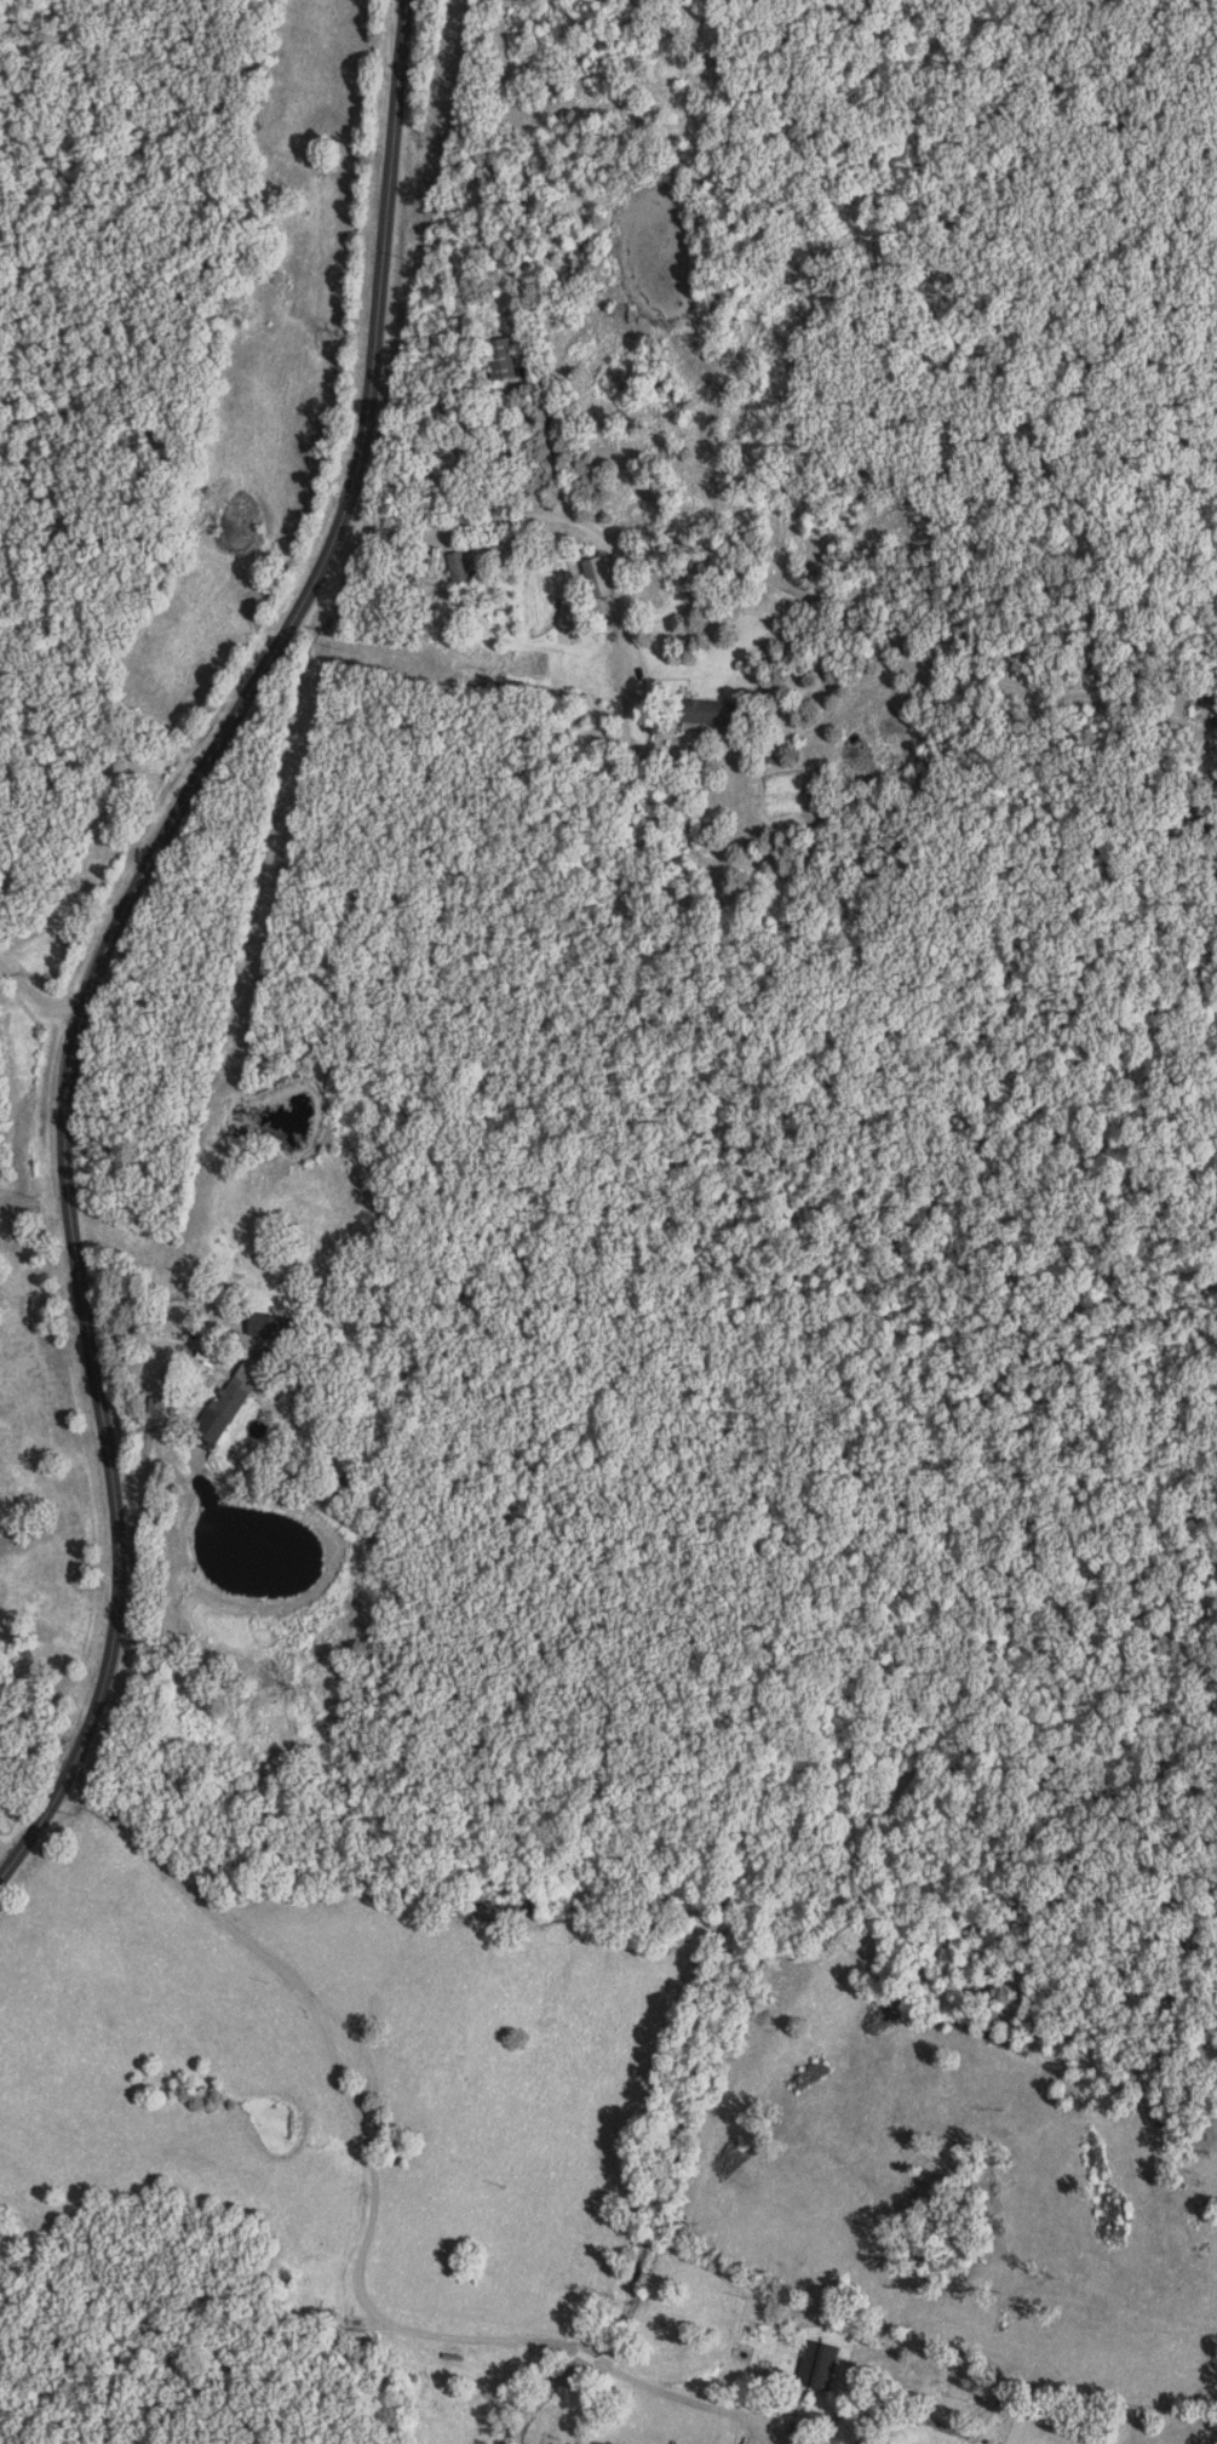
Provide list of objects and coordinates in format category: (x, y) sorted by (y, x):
building: (506, 357)
building: (464, 567)
building: (603, 577)
building: (713, 712)
road: (116, 928)
building: (277, 1326)
building: (237, 1398)
building: (2, 1799)
building: (822, 2364)

